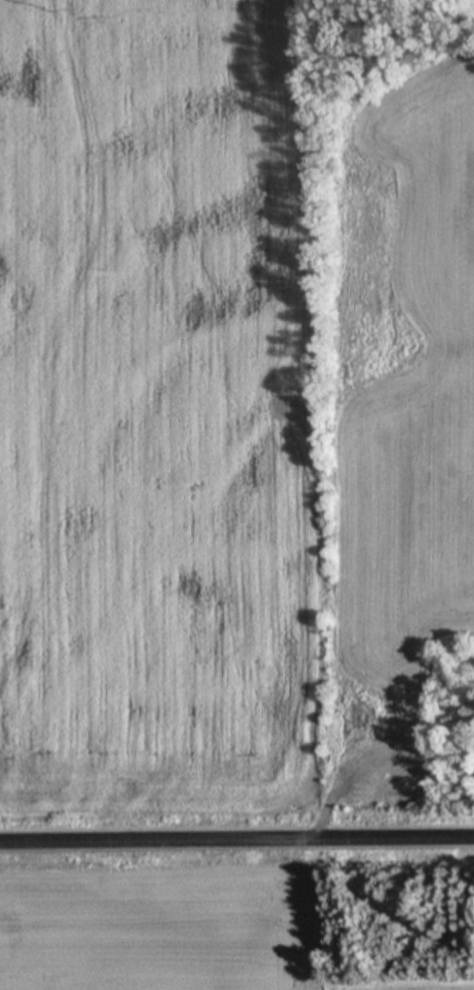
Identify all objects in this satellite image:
road: (237, 840)

